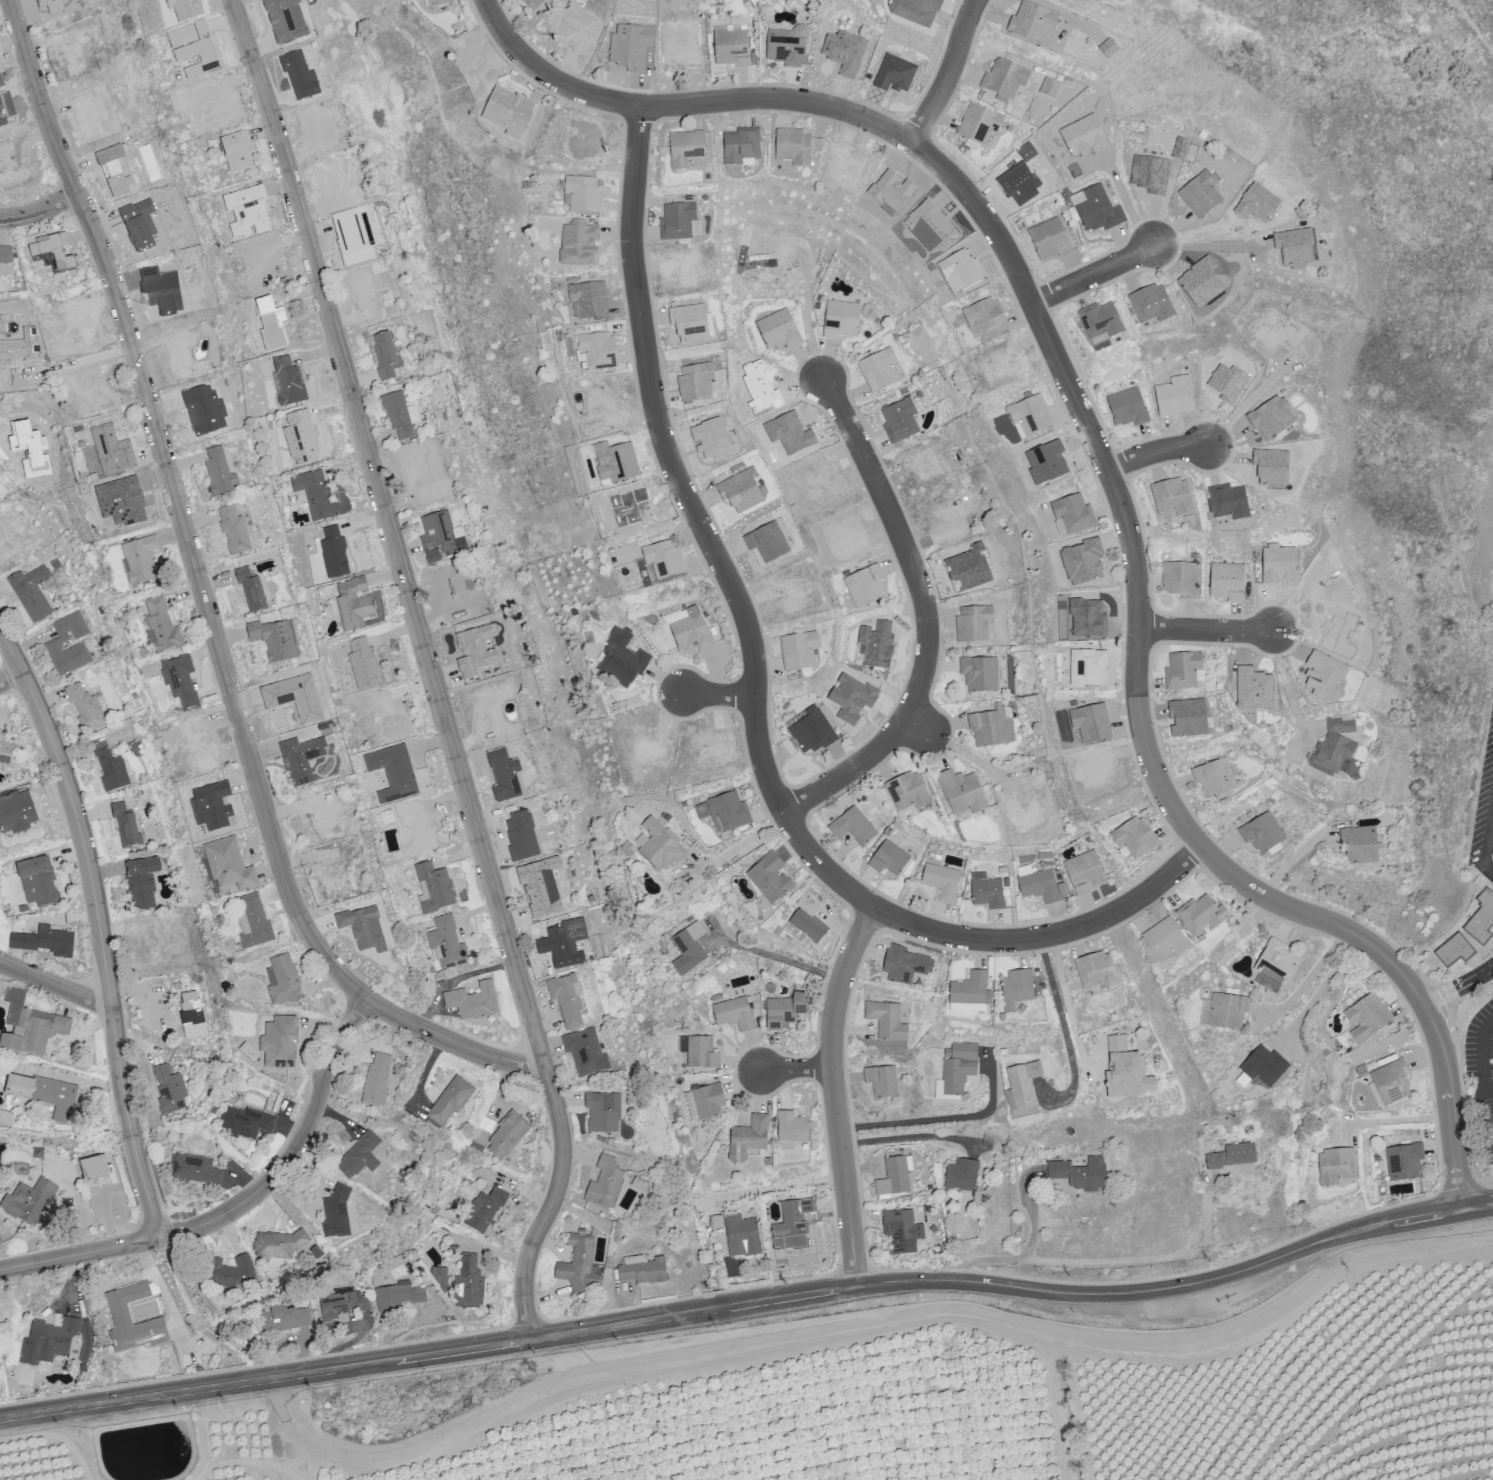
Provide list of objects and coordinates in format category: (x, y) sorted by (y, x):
building: (535, 4)
building: (1034, 20)
building: (790, 46)
building: (630, 48)
building: (733, 48)
building: (1110, 49)
road: (952, 74)
building: (1007, 79)
building: (1053, 87)
building: (981, 126)
building: (742, 147)
building: (1178, 147)
building: (795, 148)
building: (688, 150)
building: (236, 154)
building: (1153, 175)
building: (585, 195)
building: (1202, 196)
road: (1128, 203)
building: (1100, 211)
road: (42, 212)
building: (679, 223)
building: (1052, 241)
building: (579, 247)
road: (1210, 247)
building: (59, 253)
building: (7, 256)
road: (1096, 274)
building: (590, 300)
building: (1151, 310)
building: (989, 318)
building: (842, 320)
building: (691, 325)
building: (1099, 326)
building: (779, 331)
building: (599, 350)
building: (385, 353)
road: (84, 361)
building: (881, 370)
building: (697, 382)
building: (1177, 397)
road: (1243, 406)
building: (1130, 407)
building: (1033, 415)
building: (1274, 419)
building: (902, 421)
building: (395, 423)
road: (1, 429)
building: (116, 450)
road: (1155, 451)
building: (617, 463)
building: (223, 474)
road: (1112, 479)
building: (743, 491)
building: (1175, 497)
building: (317, 498)
building: (1232, 502)
building: (1075, 513)
road: (706, 528)
building: (238, 531)
building: (440, 537)
building: (768, 544)
building: (334, 555)
building: (144, 560)
building: (666, 560)
building: (1182, 579)
building: (1229, 581)
building: (867, 586)
building: (256, 592)
building: (34, 593)
road: (208, 598)
building: (354, 605)
road: (929, 618)
building: (976, 624)
building: (165, 627)
road: (1205, 629)
building: (692, 631)
building: (276, 641)
building: (58, 643)
building: (800, 652)
building: (478, 654)
building: (624, 659)
building: (364, 664)
road: (429, 668)
building: (1185, 671)
road: (10, 676)
building: (983, 676)
building: (185, 683)
road: (1287, 686)
road: (720, 694)
building: (90, 710)
building: (1192, 718)
building: (991, 729)
building: (1337, 747)
road: (956, 748)
building: (7, 751)
building: (301, 759)
building: (114, 768)
building: (1218, 779)
building: (909, 793)
building: (964, 793)
parking lot: (1483, 809)
building: (727, 812)
building: (130, 824)
building: (855, 828)
road: (1488, 828)
building: (1266, 833)
building: (1137, 839)
building: (1363, 845)
road: (737, 846)
building: (660, 847)
building: (891, 860)
building: (233, 865)
road: (1488, 866)
building: (1086, 874)
building: (770, 879)
building: (38, 882)
building: (145, 882)
building: (944, 883)
building: (1042, 887)
building: (437, 889)
building: (990, 894)
building: (1479, 914)
building: (1205, 915)
building: (257, 922)
building: (811, 922)
road: (100, 928)
building: (364, 928)
road: (1050, 934)
building: (1167, 940)
building: (44, 941)
building: (447, 943)
building: (1453, 946)
building: (690, 952)
building: (560, 953)
road: (782, 959)
building: (1277, 962)
building: (905, 965)
building: (1099, 971)
road: (1308, 976)
building: (288, 981)
building: (1266, 981)
road: (55, 986)
road: (1458, 987)
road: (1319, 988)
building: (1019, 989)
building: (973, 990)
building: (473, 1001)
road: (1067, 1002)
building: (568, 1004)
building: (787, 1009)
building: (1231, 1011)
building: (735, 1013)
building: (1370, 1017)
building: (889, 1021)
road: (1062, 1025)
building: (34, 1027)
building: (895, 1044)
building: (702, 1053)
building: (583, 1054)
parking lot: (1481, 1065)
building: (1268, 1066)
road: (796, 1068)
building: (960, 1068)
building: (1129, 1071)
road: (1481, 1076)
building: (377, 1081)
building: (1394, 1082)
building: (882, 1086)
building: (1023, 1086)
building: (174, 1090)
road: (832, 1092)
building: (49, 1095)
building: (451, 1101)
building: (709, 1101)
building: (604, 1112)
road: (1394, 1118)
road: (936, 1119)
building: (248, 1125)
building: (793, 1126)
building: (483, 1135)
building: (509, 1135)
road: (908, 1136)
building: (749, 1138)
building: (360, 1156)
building: (1234, 1156)
building: (1408, 1162)
building: (1339, 1166)
building: (198, 1169)
building: (95, 1171)
building: (1083, 1174)
building: (964, 1176)
building: (894, 1179)
building: (605, 1184)
road: (772, 1188)
building: (27, 1201)
road: (236, 1204)
road: (1478, 1206)
building: (336, 1212)
building: (486, 1212)
building: (793, 1221)
building: (904, 1232)
building: (741, 1234)
building: (283, 1245)
road: (1028, 1254)
road: (1148, 1258)
building: (580, 1264)
building: (232, 1271)
building: (643, 1271)
building: (463, 1283)
road: (110, 1284)
road: (1164, 1287)
building: (399, 1295)
road: (167, 1299)
building: (342, 1303)
building: (122, 1311)
building: (291, 1317)
building: (52, 1342)
building: (89, 1343)
road: (427, 1354)
building: (86, 1370)
wastewater plant: (145, 1450)

